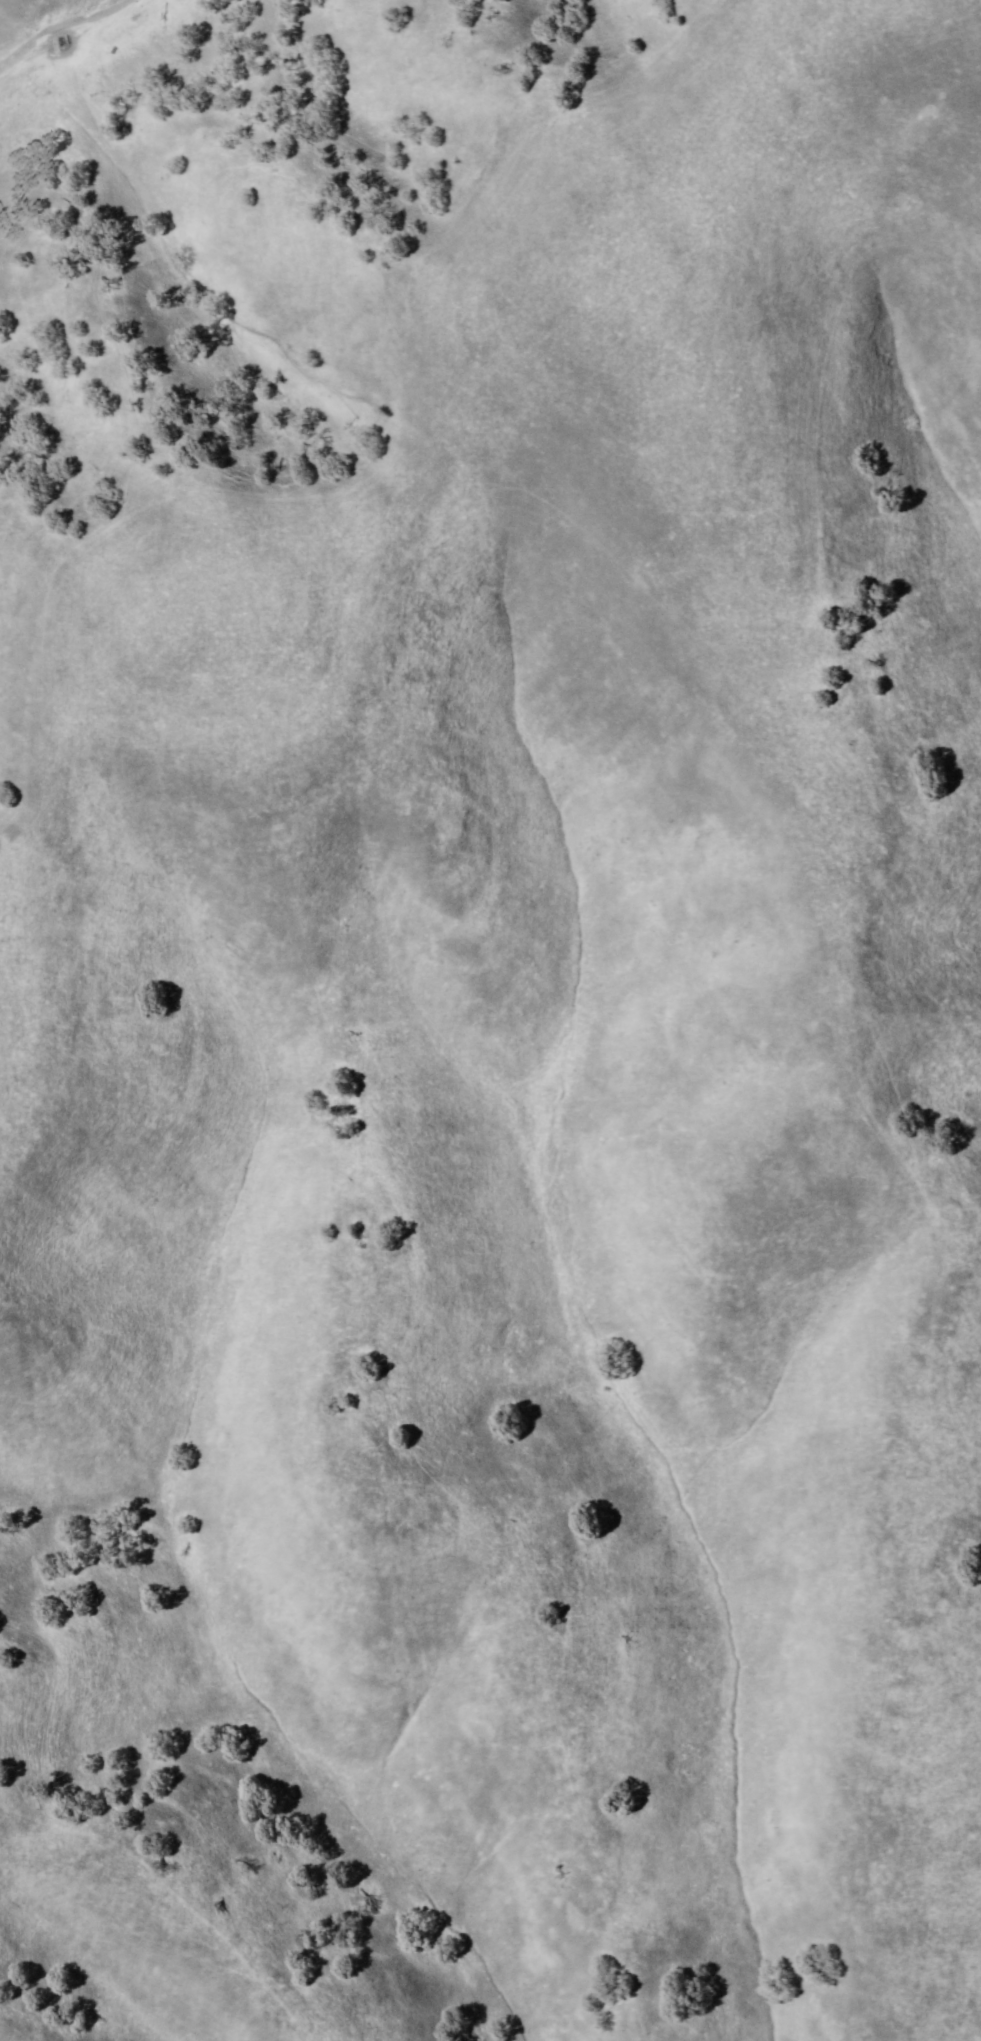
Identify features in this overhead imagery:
road: (69, 46)

